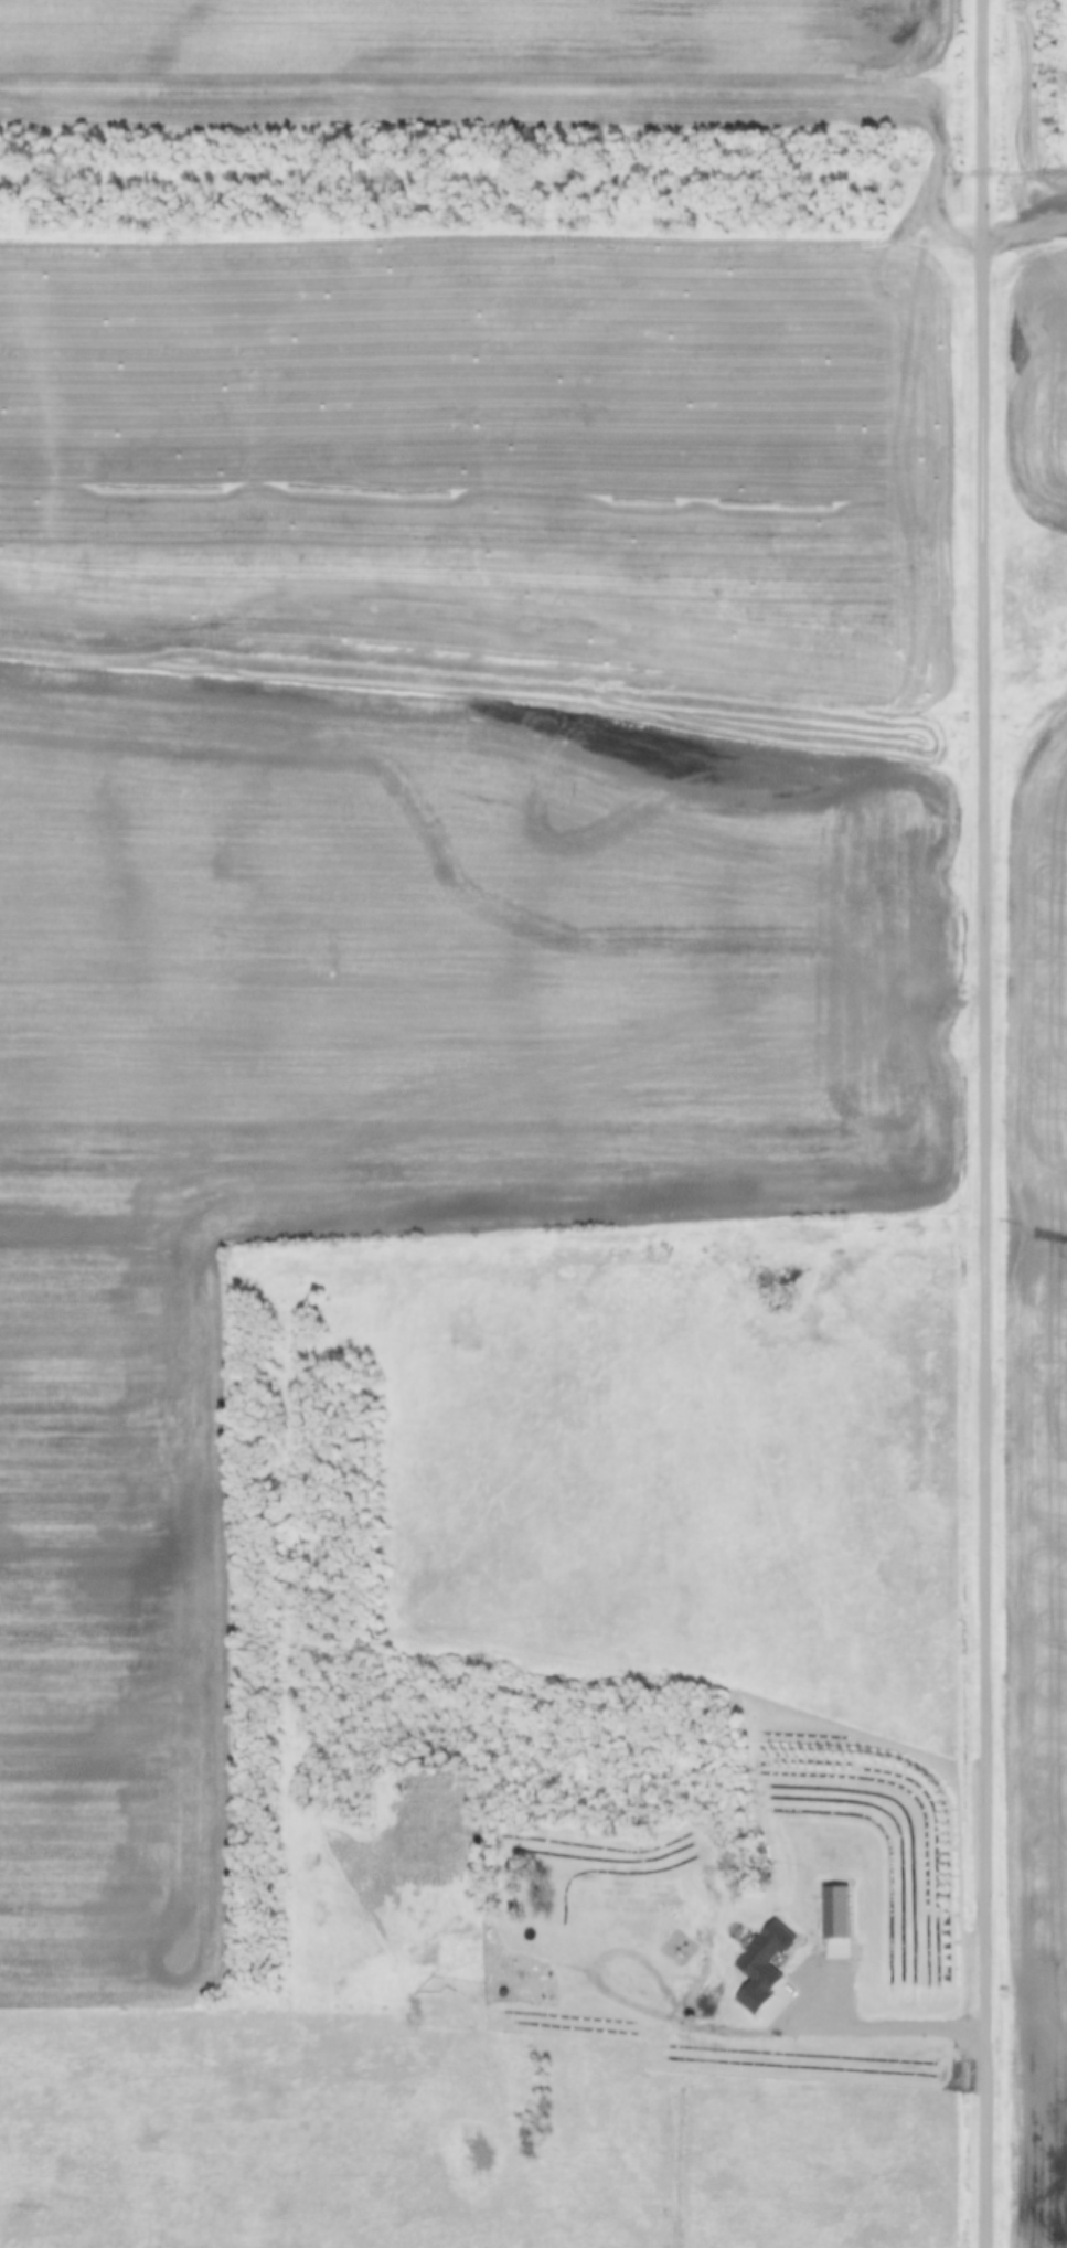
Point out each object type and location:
building: (911, 161)
building: (890, 184)
road: (988, 1021)
building: (833, 1913)
building: (759, 1964)
road: (706, 2026)
road: (984, 2145)

